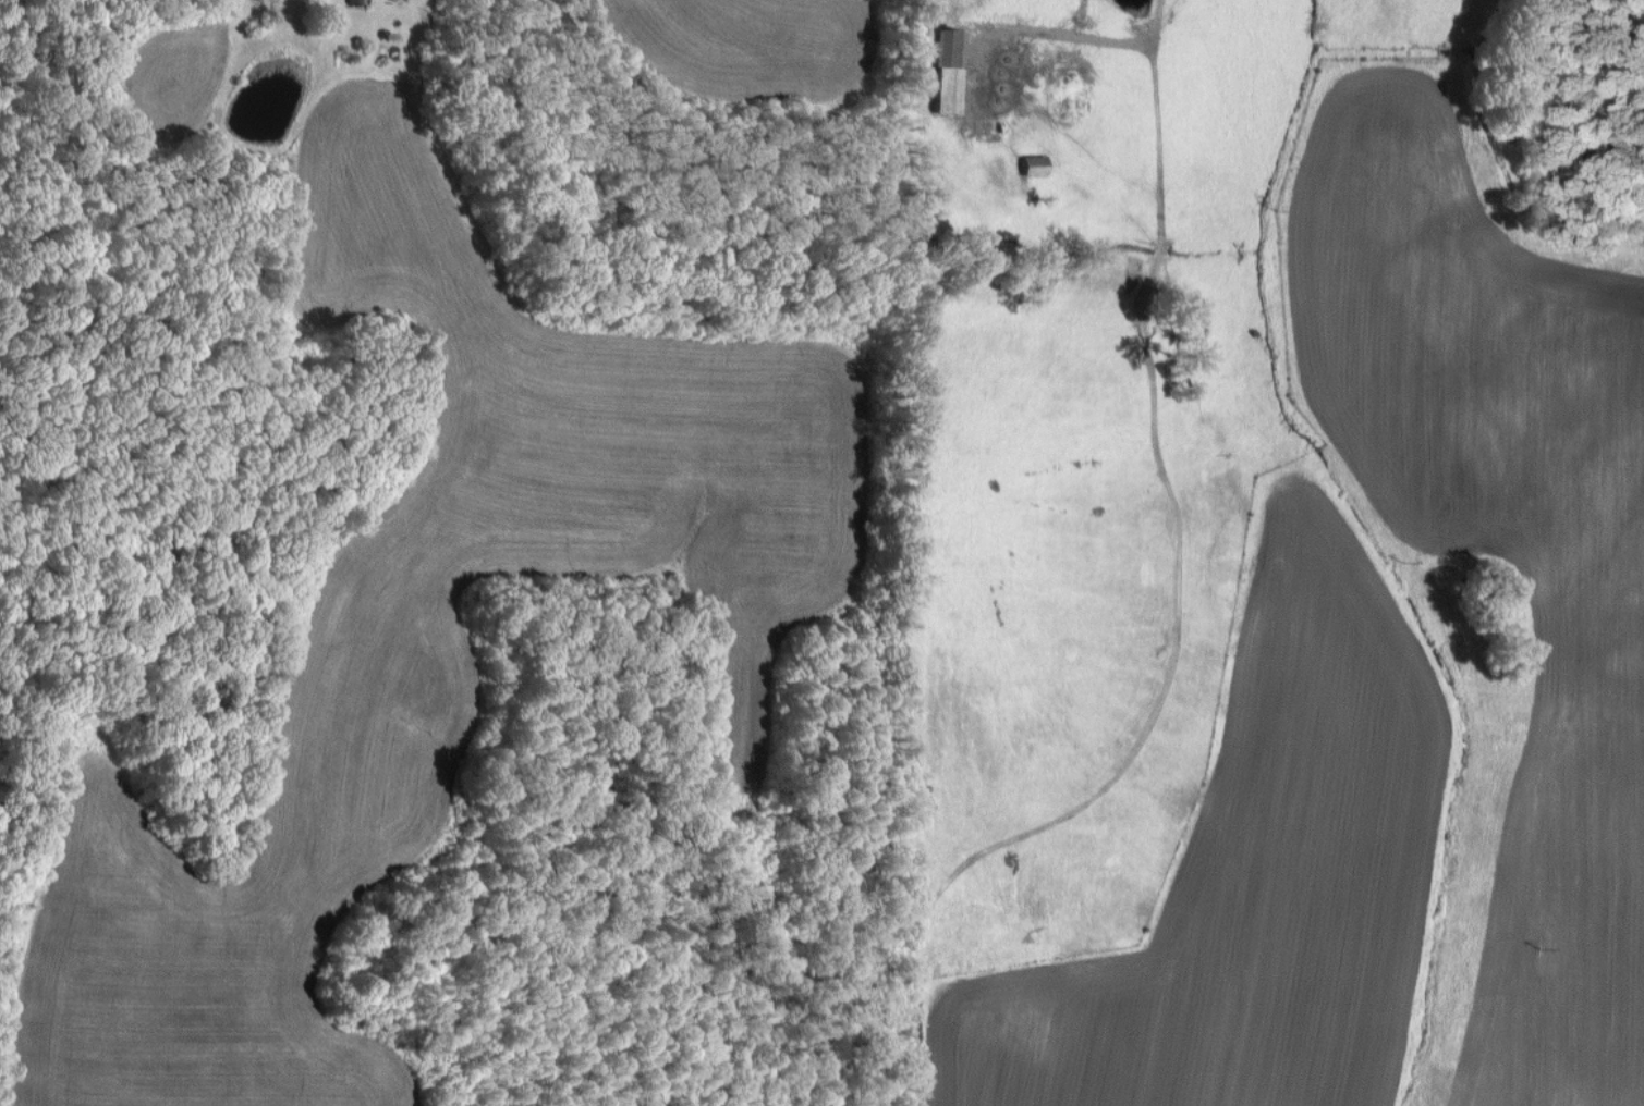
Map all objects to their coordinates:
building: (355, 0)
building: (950, 70)

